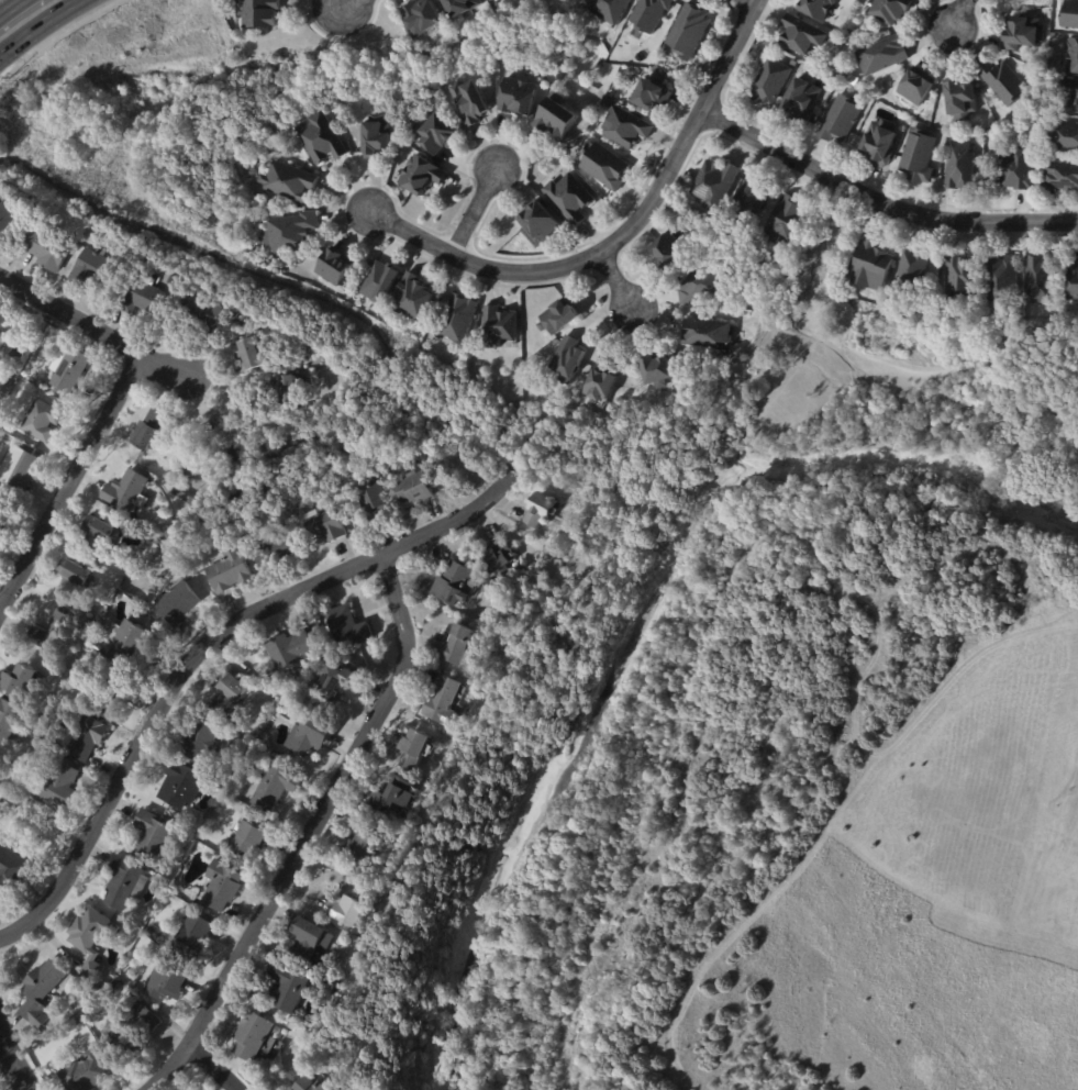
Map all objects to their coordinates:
building: (492, 0)
building: (500, 0)
road: (9, 7)
building: (458, 7)
road: (362, 9)
building: (818, 9)
building: (608, 10)
building: (890, 11)
building: (258, 13)
road: (956, 13)
building: (648, 14)
building: (1069, 15)
building: (419, 21)
road: (38, 26)
building: (687, 33)
building: (1021, 34)
building: (801, 36)
building: (881, 56)
building: (1073, 57)
building: (792, 64)
building: (769, 82)
building: (1003, 84)
building: (916, 87)
building: (1069, 94)
building: (652, 96)
building: (516, 98)
building: (960, 99)
building: (800, 102)
building: (469, 103)
building: (608, 103)
building: (555, 116)
building: (841, 120)
building: (623, 129)
building: (1064, 136)
building: (376, 137)
building: (440, 137)
building: (1013, 137)
building: (321, 142)
building: (879, 144)
building: (554, 155)
building: (918, 158)
building: (959, 167)
building: (604, 168)
building: (1014, 170)
building: (421, 177)
building: (1060, 177)
building: (288, 182)
building: (714, 185)
building: (570, 199)
building: (748, 200)
road: (648, 201)
road: (878, 208)
road: (473, 210)
building: (7, 213)
building: (789, 222)
building: (538, 225)
road: (411, 232)
building: (288, 233)
building: (753, 241)
building: (44, 247)
building: (667, 253)
building: (95, 264)
building: (871, 267)
building: (333, 268)
building: (912, 275)
building: (959, 278)
road: (614, 279)
building: (1038, 279)
building: (1001, 281)
building: (1074, 282)
building: (379, 283)
building: (702, 288)
building: (143, 294)
building: (411, 299)
building: (199, 310)
building: (560, 316)
building: (458, 319)
building: (3, 320)
building: (386, 321)
building: (499, 329)
road: (93, 331)
building: (709, 335)
building: (249, 353)
building: (568, 359)
building: (67, 368)
building: (14, 371)
building: (657, 374)
building: (5, 378)
building: (282, 387)
building: (599, 387)
building: (16, 391)
building: (62, 399)
building: (38, 421)
building: (148, 432)
building: (19, 468)
road: (67, 480)
building: (412, 488)
building: (127, 492)
building: (369, 500)
building: (540, 509)
building: (2, 512)
building: (324, 529)
building: (97, 533)
building: (169, 533)
building: (159, 543)
building: (273, 553)
building: (494, 560)
building: (227, 571)
building: (75, 578)
building: (454, 583)
building: (491, 588)
building: (177, 604)
building: (346, 627)
building: (52, 633)
building: (126, 642)
building: (457, 646)
building: (96, 647)
building: (325, 649)
building: (288, 652)
road: (208, 653)
building: (19, 681)
building: (335, 682)
building: (225, 693)
building: (112, 700)
building: (443, 703)
building: (7, 720)
building: (308, 735)
building: (87, 738)
building: (200, 742)
building: (413, 749)
building: (12, 764)
building: (181, 783)
building: (274, 785)
building: (57, 787)
building: (9, 792)
building: (390, 797)
building: (5, 799)
road: (833, 819)
building: (465, 826)
building: (153, 834)
road: (321, 834)
building: (248, 837)
building: (359, 846)
building: (12, 871)
building: (164, 874)
building: (123, 880)
building: (221, 883)
building: (345, 910)
building: (153, 933)
building: (89, 935)
building: (192, 938)
building: (308, 939)
building: (163, 982)
building: (113, 983)
building: (286, 987)
building: (40, 992)
building: (92, 993)
building: (76, 1021)
building: (133, 1027)
building: (276, 1032)
building: (249, 1036)
road: (14, 1057)
road: (219, 1069)
building: (84, 1074)
building: (308, 1086)

